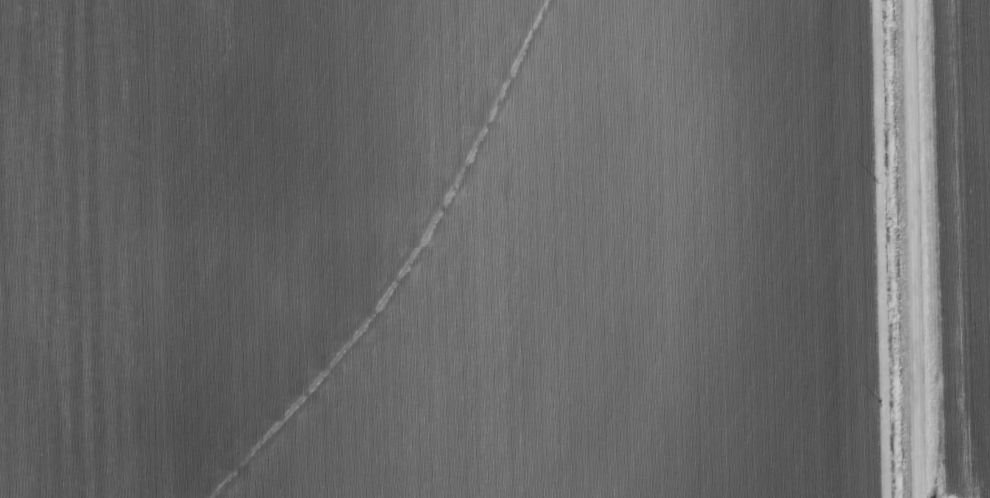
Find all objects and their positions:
road: (913, 248)

